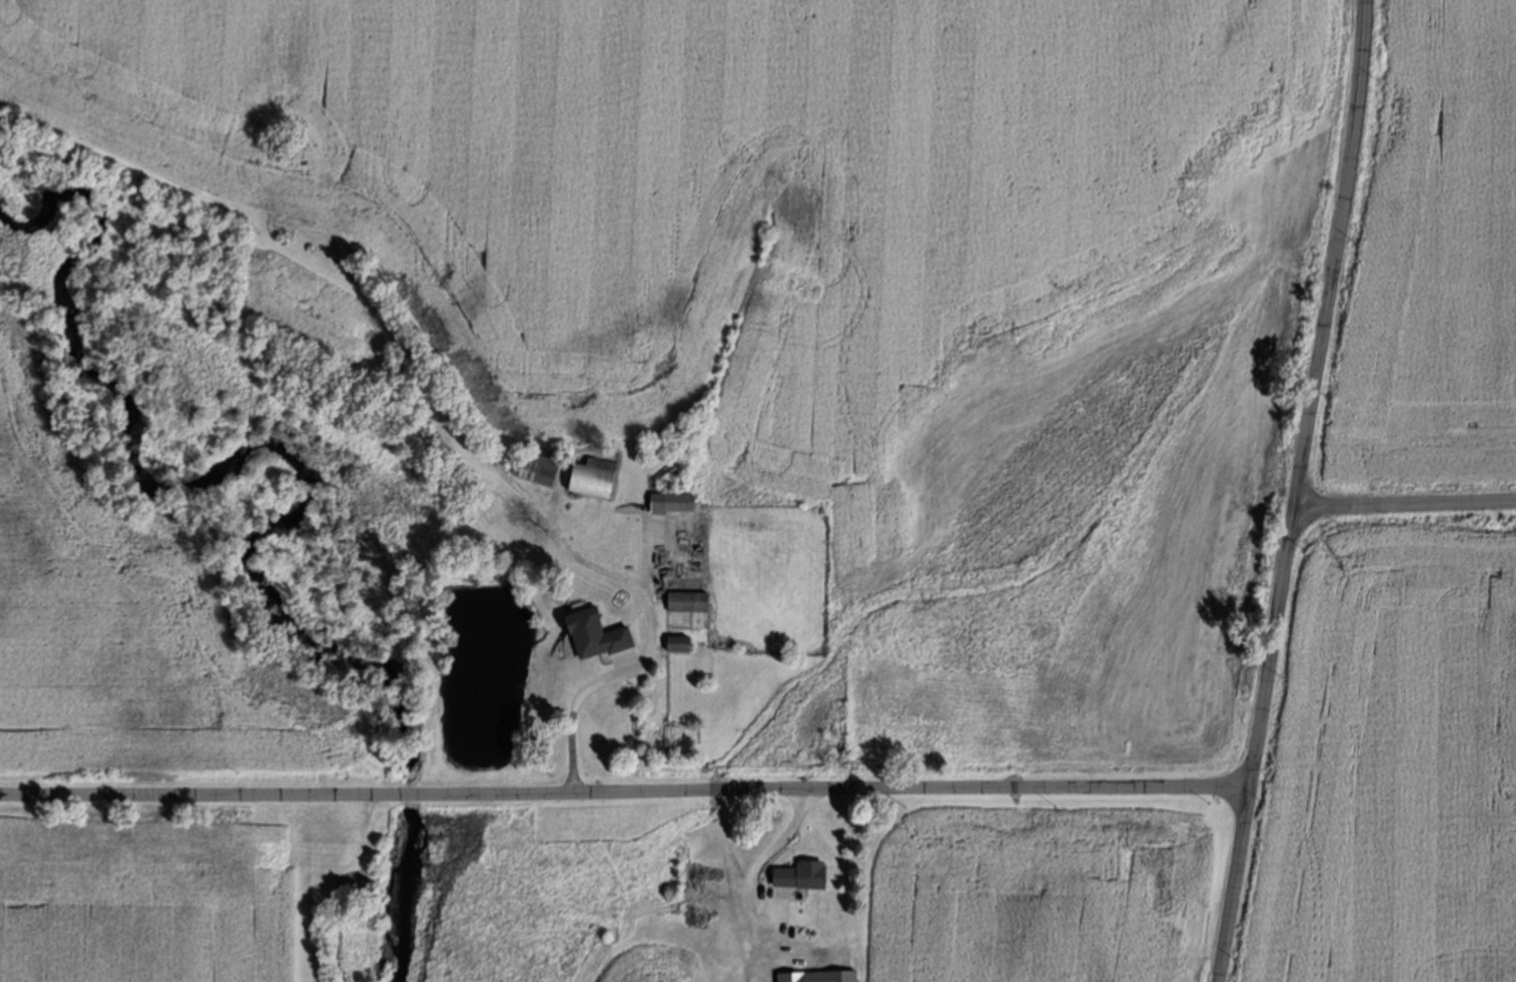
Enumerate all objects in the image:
road: (1338, 252)
building: (541, 467)
building: (597, 478)
building: (674, 502)
road: (1407, 502)
building: (690, 601)
building: (600, 634)
building: (681, 643)
road: (1274, 650)
road: (583, 694)
road: (625, 794)
road: (756, 857)
building: (796, 876)
road: (1235, 889)
building: (819, 976)

